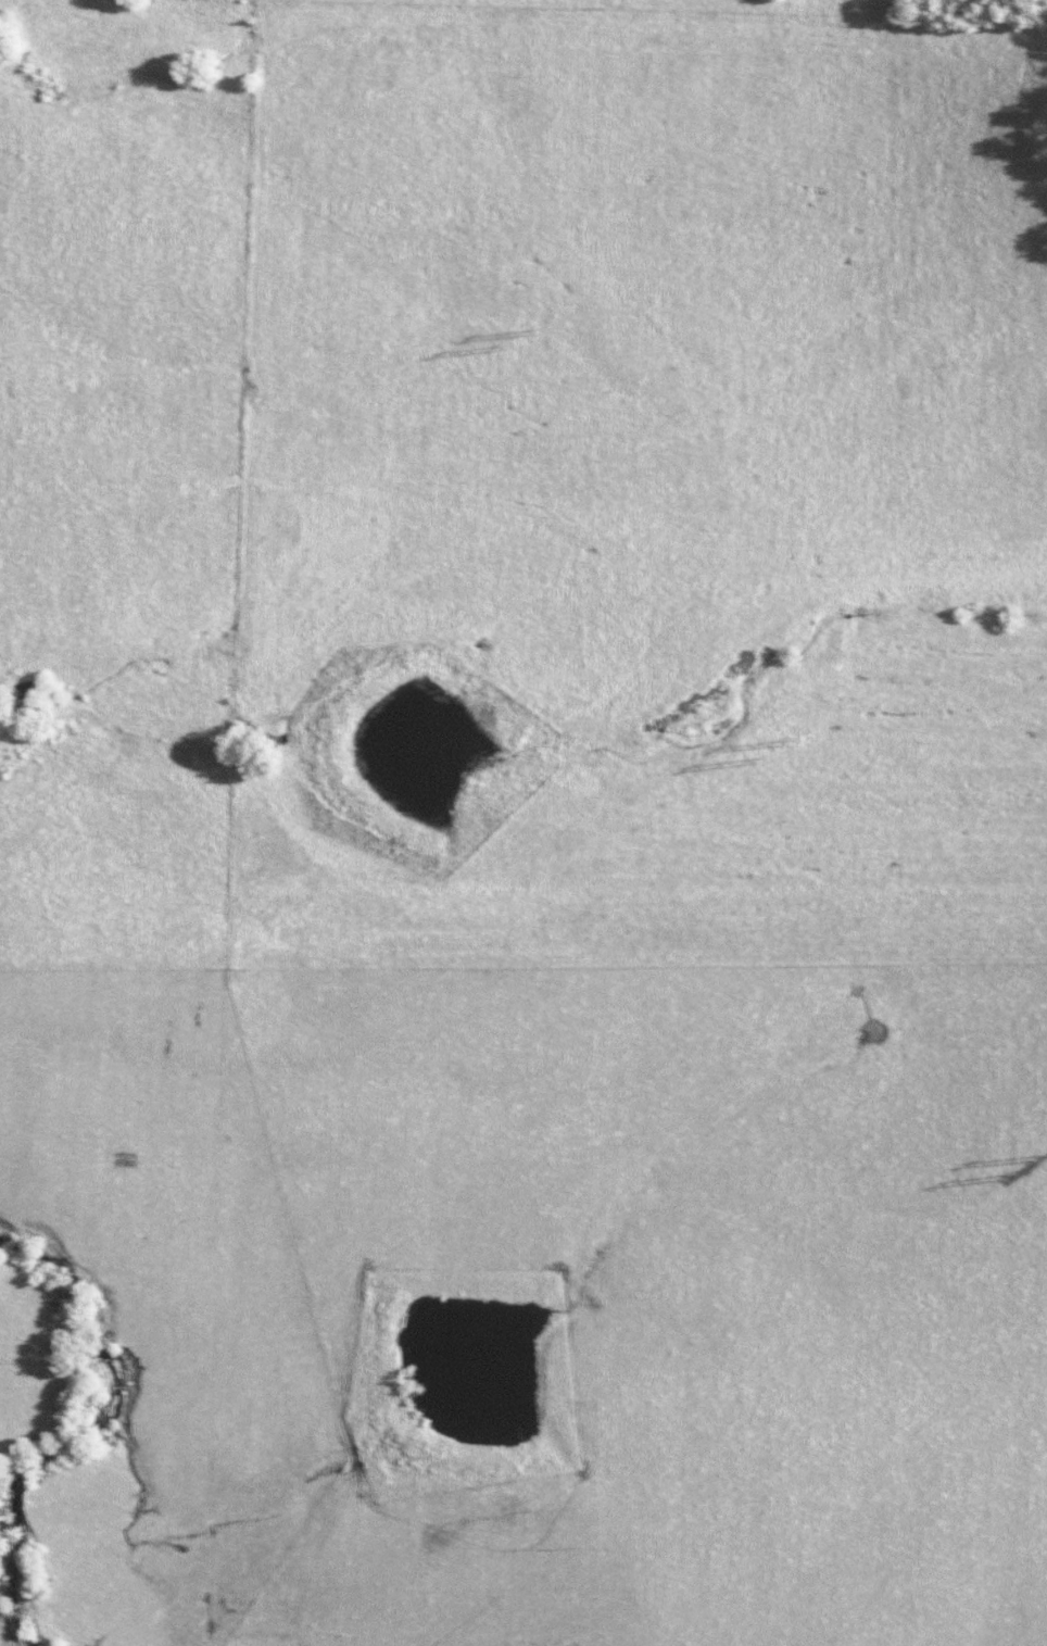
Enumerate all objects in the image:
power tower: (550, 329)
power tower: (514, 350)
power tower: (806, 742)
power tower: (769, 764)
building: (122, 1157)
power tower: (1022, 1180)

